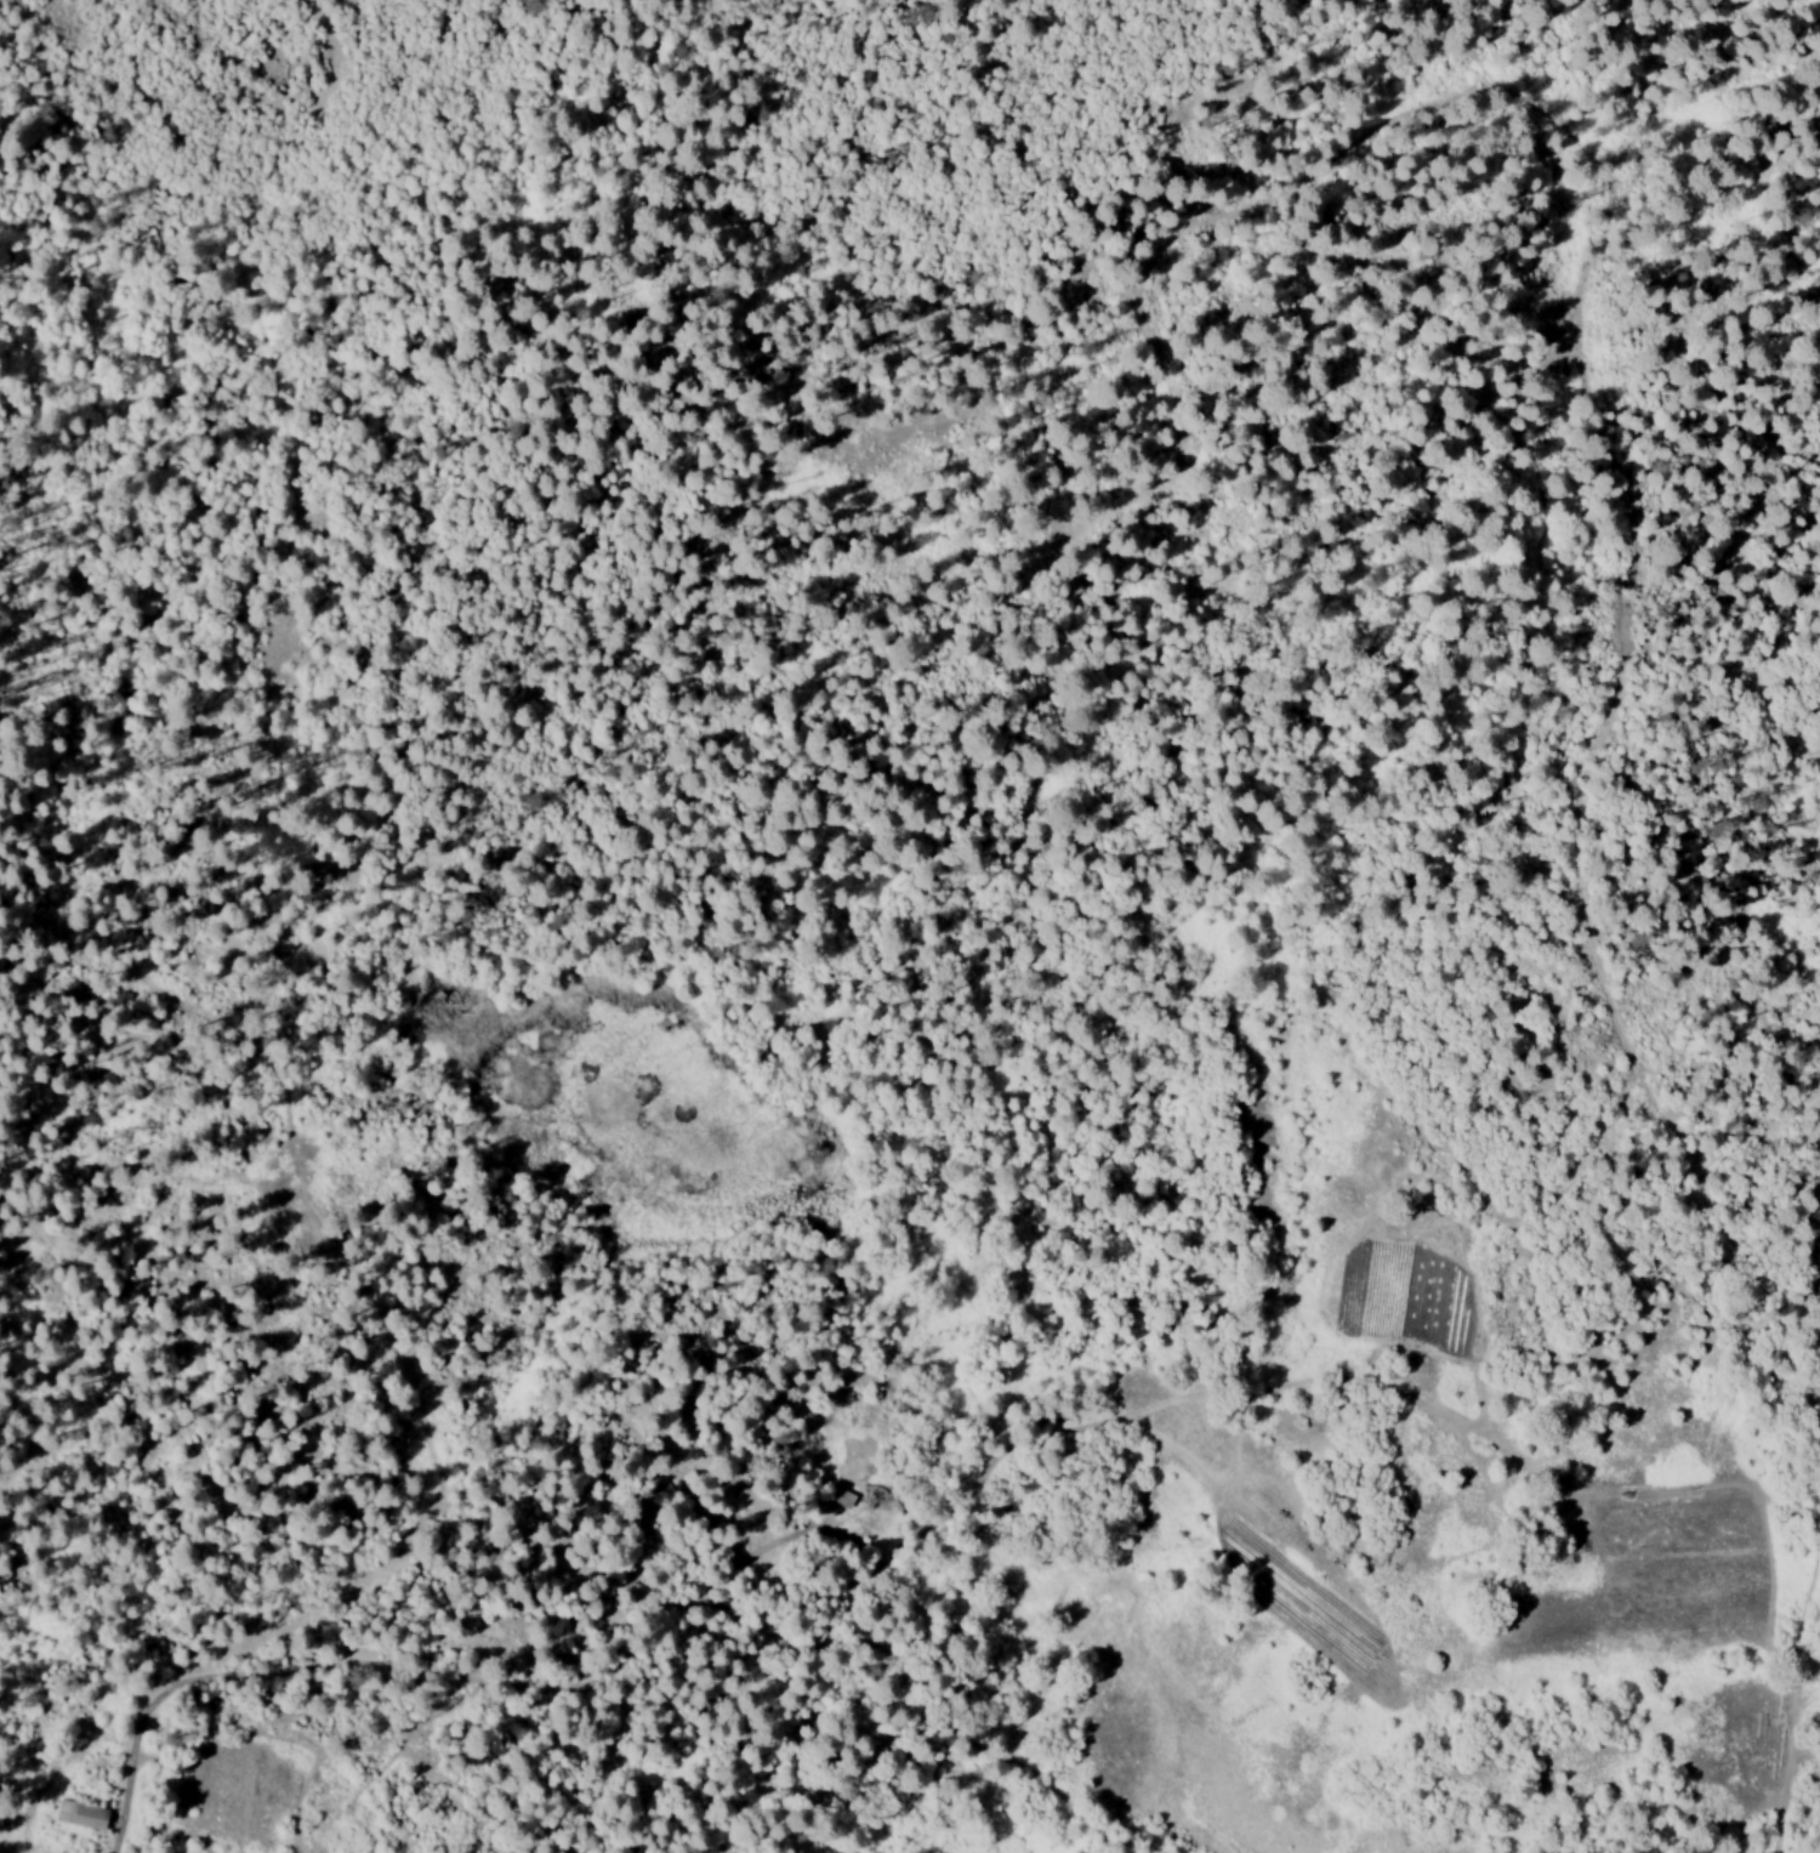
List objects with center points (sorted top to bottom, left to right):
road: (593, 1645)

